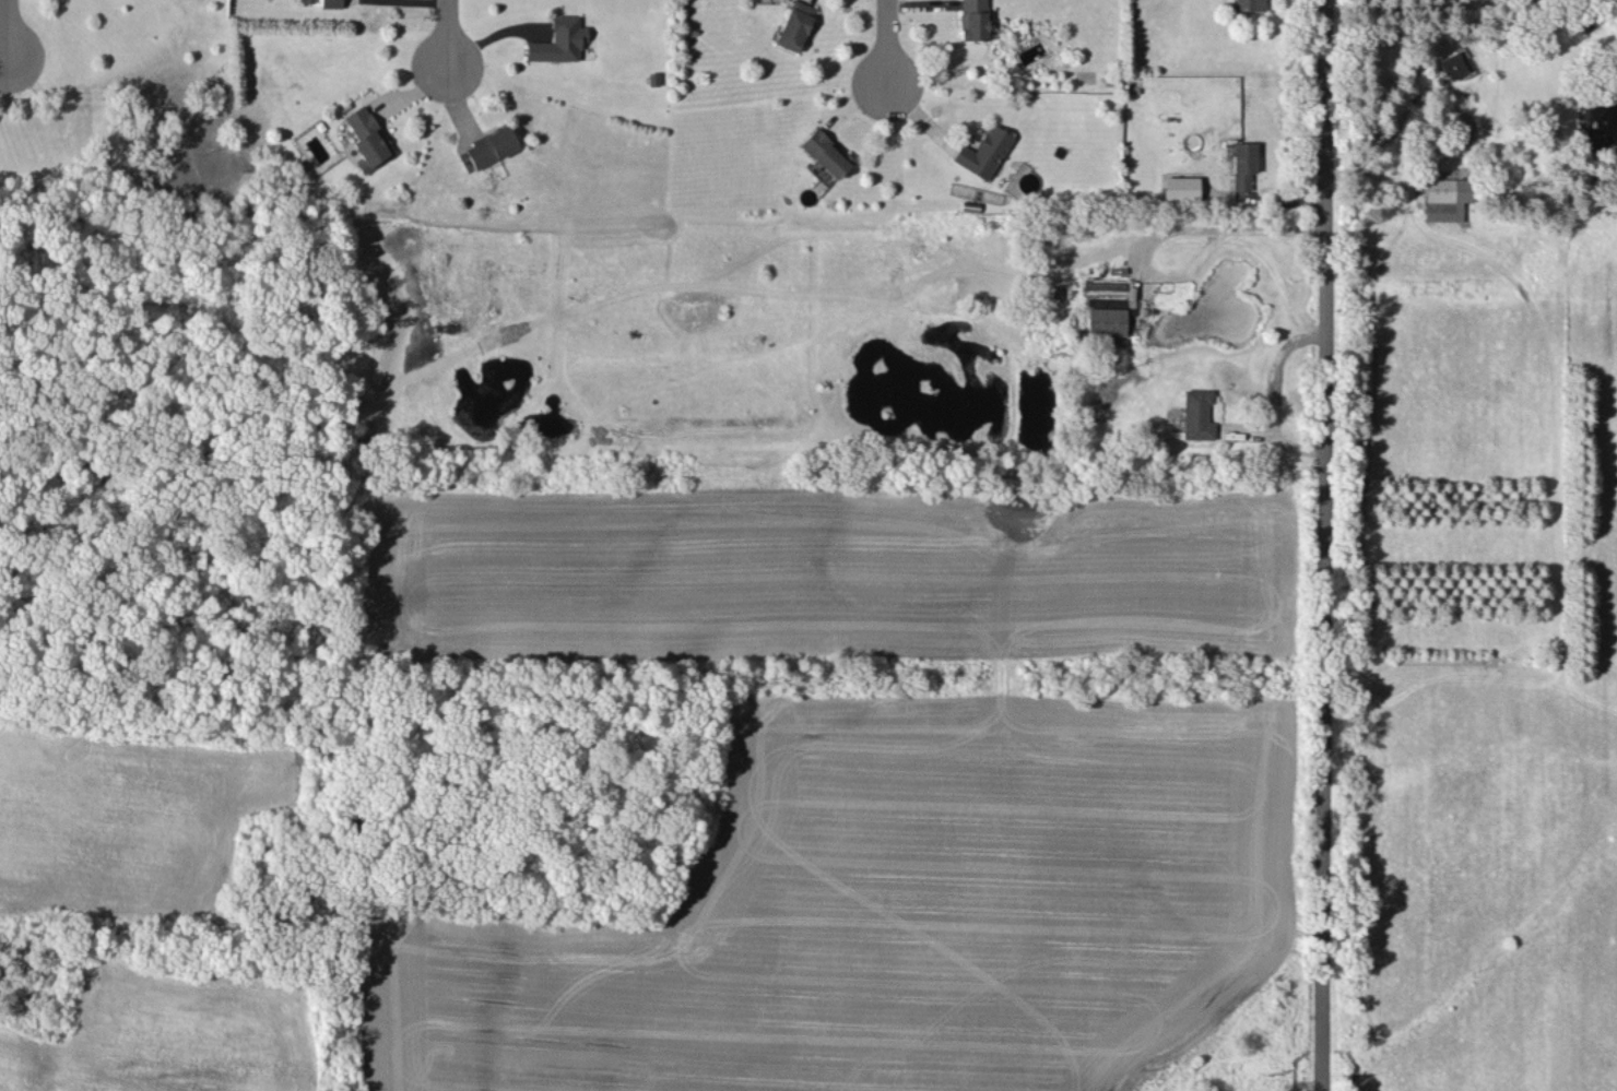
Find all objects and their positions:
building: (331, 3)
building: (1249, 4)
road: (1451, 4)
road: (1474, 7)
road: (1380, 13)
building: (973, 20)
building: (795, 25)
road: (8, 27)
road: (439, 29)
road: (886, 32)
building: (558, 40)
road: (3, 58)
building: (1455, 64)
road: (1449, 107)
building: (367, 139)
building: (492, 146)
building: (826, 152)
building: (984, 152)
building: (1242, 164)
building: (1180, 188)
building: (1445, 198)
road: (1164, 235)
building: (1106, 321)
road: (1268, 394)
building: (1196, 414)
road: (1324, 545)

